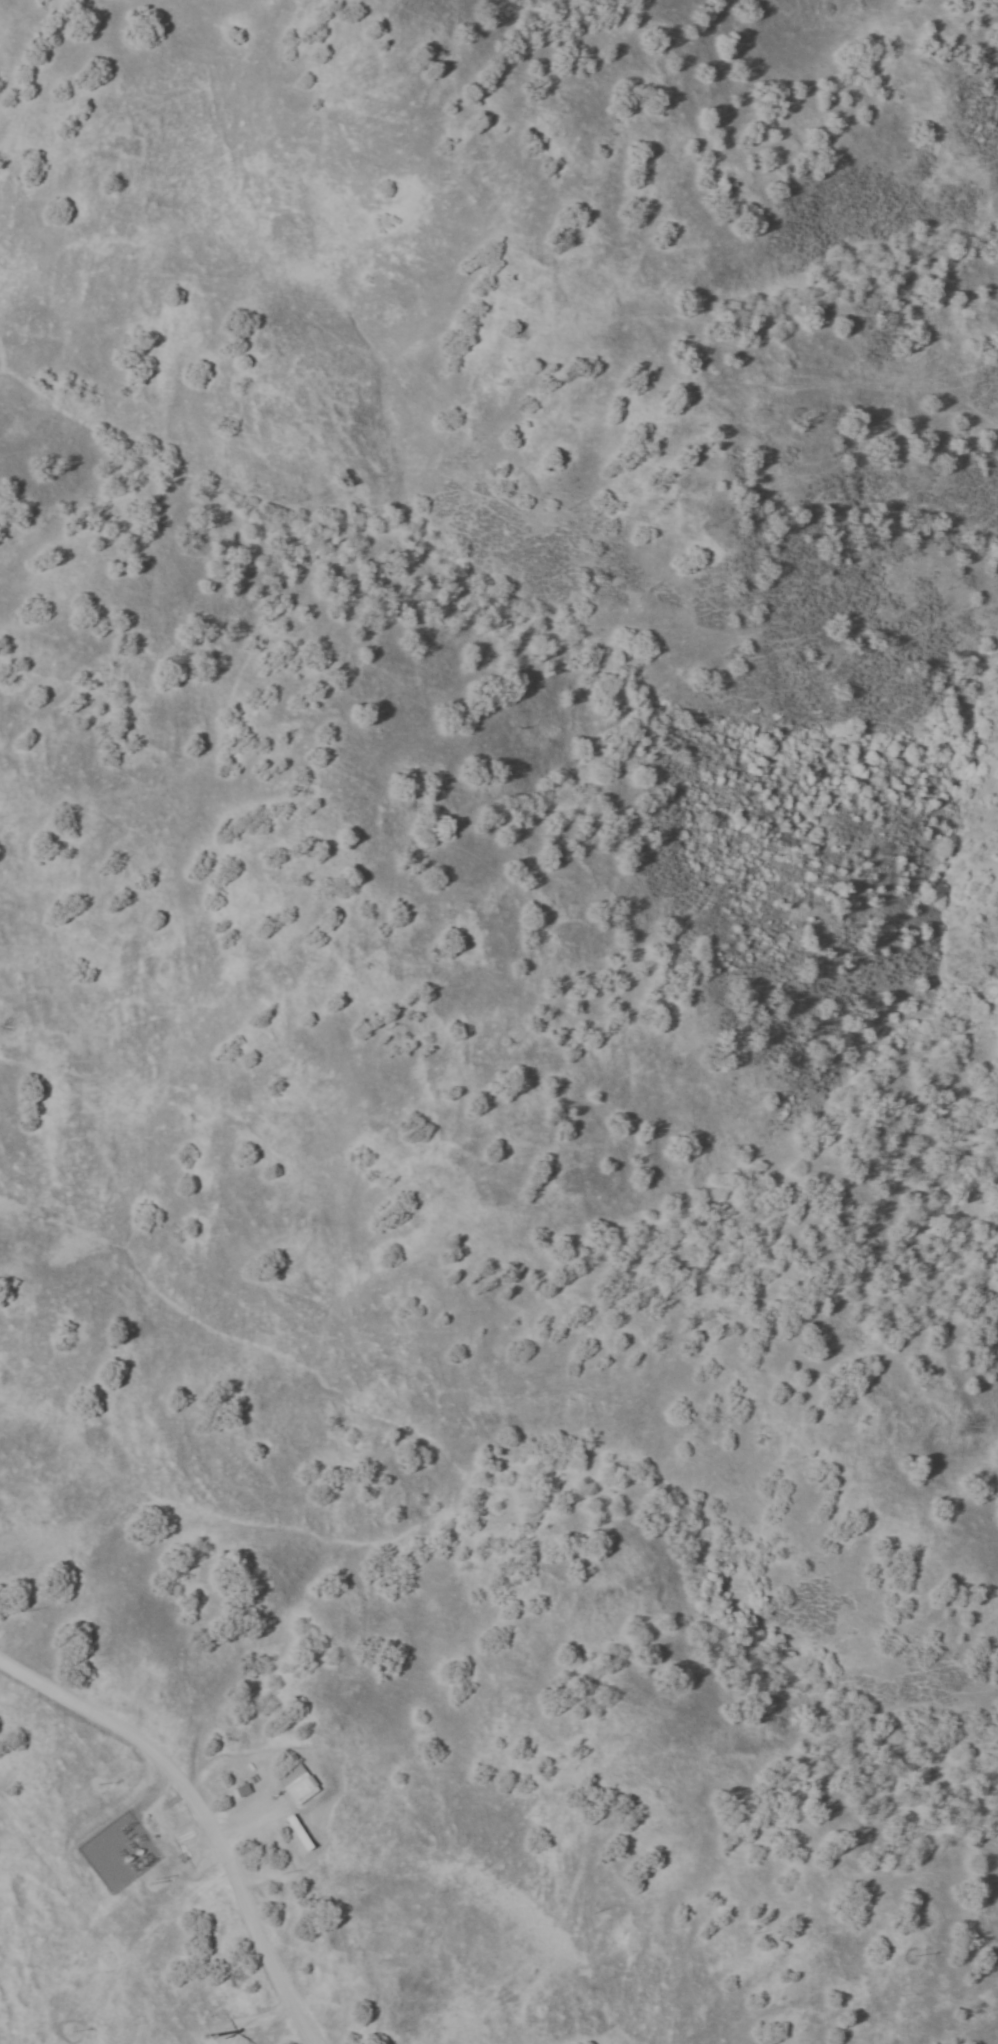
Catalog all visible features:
building: (298, 1777)
road: (198, 1815)
building: (302, 1832)
power substation: (117, 1851)
road: (248, 2018)
wind turbine: (206, 2035)

